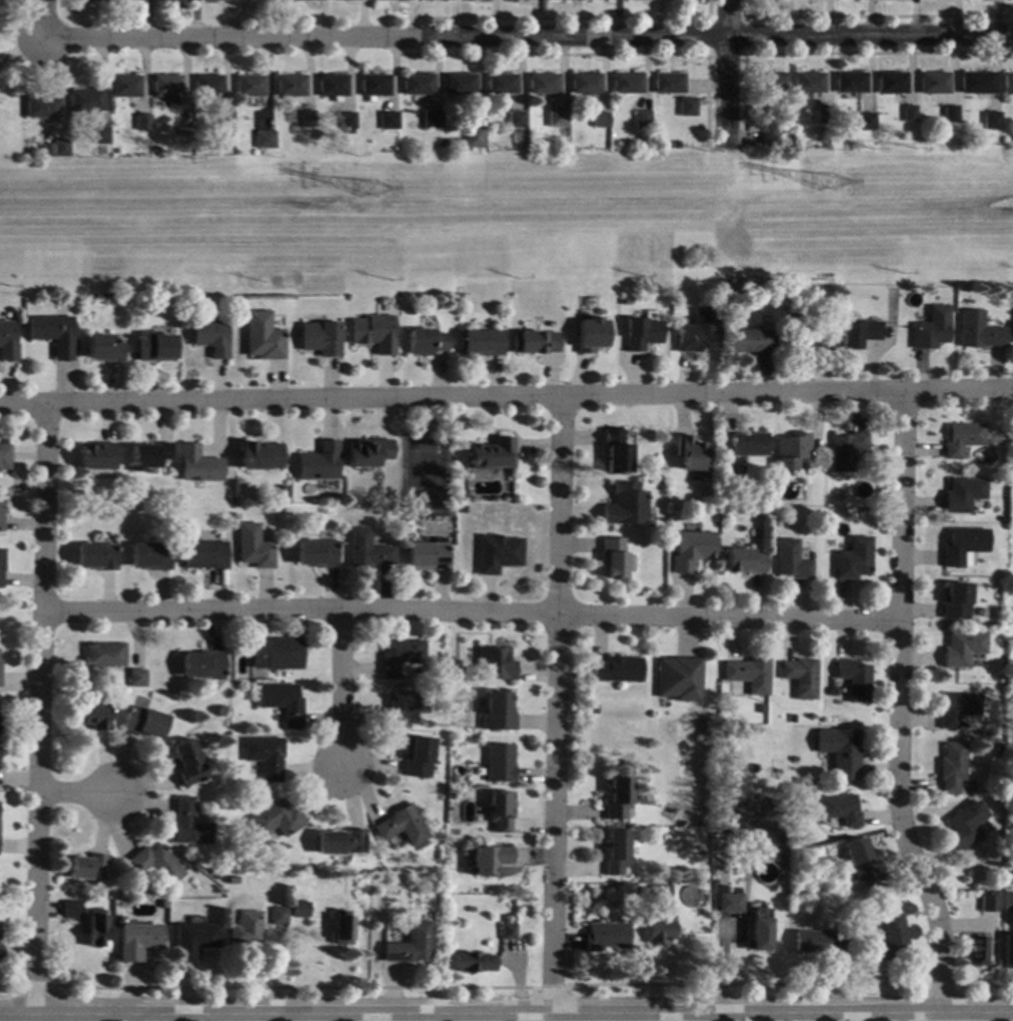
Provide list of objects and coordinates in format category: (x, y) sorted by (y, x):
building: (87, 0)
building: (128, 0)
building: (168, 0)
building: (210, 0)
building: (261, 0)
building: (313, 0)
building: (343, 0)
building: (400, 0)
road: (869, 16)
road: (567, 17)
road: (743, 17)
road: (43, 19)
road: (528, 37)
road: (832, 53)
road: (596, 54)
road: (724, 72)
building: (849, 81)
building: (541, 82)
building: (625, 82)
building: (667, 82)
building: (769, 82)
building: (890, 82)
building: (975, 82)
building: (458, 83)
building: (500, 83)
building: (584, 83)
building: (932, 83)
building: (1007, 83)
building: (290, 84)
building: (374, 84)
building: (417, 84)
building: (806, 84)
building: (123, 85)
building: (206, 85)
building: (248, 85)
building: (332, 85)
building: (166, 88)
building: (83, 100)
building: (39, 106)
building: (685, 106)
building: (907, 113)
building: (948, 113)
building: (822, 114)
building: (306, 118)
building: (430, 118)
building: (554, 118)
building: (640, 118)
building: (221, 119)
building: (387, 119)
building: (514, 119)
building: (598, 119)
building: (989, 120)
building: (139, 121)
building: (347, 121)
building: (864, 121)
building: (818, 129)
building: (96, 135)
building: (767, 135)
building: (180, 137)
building: (262, 138)
building: (471, 138)
building: (674, 144)
building: (56, 147)
building: (637, 148)
building: (43, 150)
power tower: (824, 186)
power tower: (364, 193)
road: (506, 215)
building: (750, 292)
building: (622, 299)
building: (71, 307)
building: (409, 310)
building: (930, 328)
building: (696, 330)
building: (977, 331)
building: (372, 332)
building: (857, 332)
building: (51, 333)
building: (588, 333)
building: (640, 333)
building: (804, 334)
building: (261, 336)
building: (209, 337)
building: (319, 337)
building: (749, 340)
building: (533, 341)
building: (6, 342)
building: (424, 342)
building: (479, 342)
building: (154, 345)
building: (102, 348)
road: (506, 396)
building: (962, 437)
building: (748, 444)
building: (615, 450)
building: (791, 450)
building: (846, 450)
building: (690, 452)
building: (366, 453)
building: (491, 453)
building: (96, 455)
building: (148, 455)
building: (260, 455)
building: (3, 456)
building: (318, 461)
building: (197, 464)
building: (391, 472)
building: (728, 474)
building: (661, 483)
building: (279, 488)
building: (463, 493)
building: (963, 493)
building: (744, 498)
building: (624, 503)
building: (0, 517)
building: (775, 523)
building: (963, 543)
building: (253, 546)
building: (689, 549)
building: (367, 550)
building: (497, 552)
building: (316, 553)
building: (203, 554)
building: (149, 555)
building: (427, 555)
building: (611, 555)
building: (94, 556)
building: (853, 558)
building: (742, 559)
building: (790, 560)
building: (0, 561)
building: (956, 600)
road: (472, 611)
building: (962, 647)
building: (275, 653)
building: (102, 654)
building: (399, 657)
building: (493, 662)
building: (202, 664)
building: (616, 669)
building: (748, 674)
building: (135, 677)
building: (678, 677)
building: (800, 677)
building: (854, 680)
road: (343, 689)
building: (832, 691)
building: (281, 702)
road: (556, 705)
road: (898, 705)
building: (958, 706)
building: (593, 707)
building: (403, 708)
building: (759, 708)
road: (41, 710)
building: (496, 710)
building: (91, 715)
building: (791, 718)
building: (142, 721)
building: (840, 751)
building: (264, 755)
building: (418, 756)
building: (499, 761)
building: (186, 763)
building: (951, 766)
road: (76, 792)
building: (618, 797)
building: (840, 808)
building: (499, 809)
building: (277, 818)
building: (189, 824)
building: (963, 824)
building: (402, 825)
building: (341, 841)
building: (615, 850)
building: (488, 858)
building: (858, 859)
building: (286, 861)
building: (1010, 861)
building: (155, 864)
building: (88, 867)
building: (307, 870)
building: (214, 872)
building: (232, 879)
building: (318, 881)
building: (660, 892)
building: (1007, 900)
building: (119, 902)
building: (727, 902)
building: (987, 902)
building: (161, 903)
building: (71, 909)
building: (298, 909)
building: (277, 915)
building: (341, 927)
building: (507, 927)
building: (244, 928)
building: (96, 929)
building: (759, 930)
building: (660, 931)
building: (606, 935)
building: (889, 937)
building: (136, 940)
building: (192, 940)
building: (818, 941)
building: (409, 944)
building: (0, 949)
building: (976, 950)
building: (1007, 950)
building: (863, 957)
building: (472, 962)
road: (746, 984)
road: (6, 985)
road: (33, 985)
road: (551, 986)
road: (941, 986)
road: (986, 986)
road: (292, 988)
road: (506, 1014)
road: (132, 1017)

